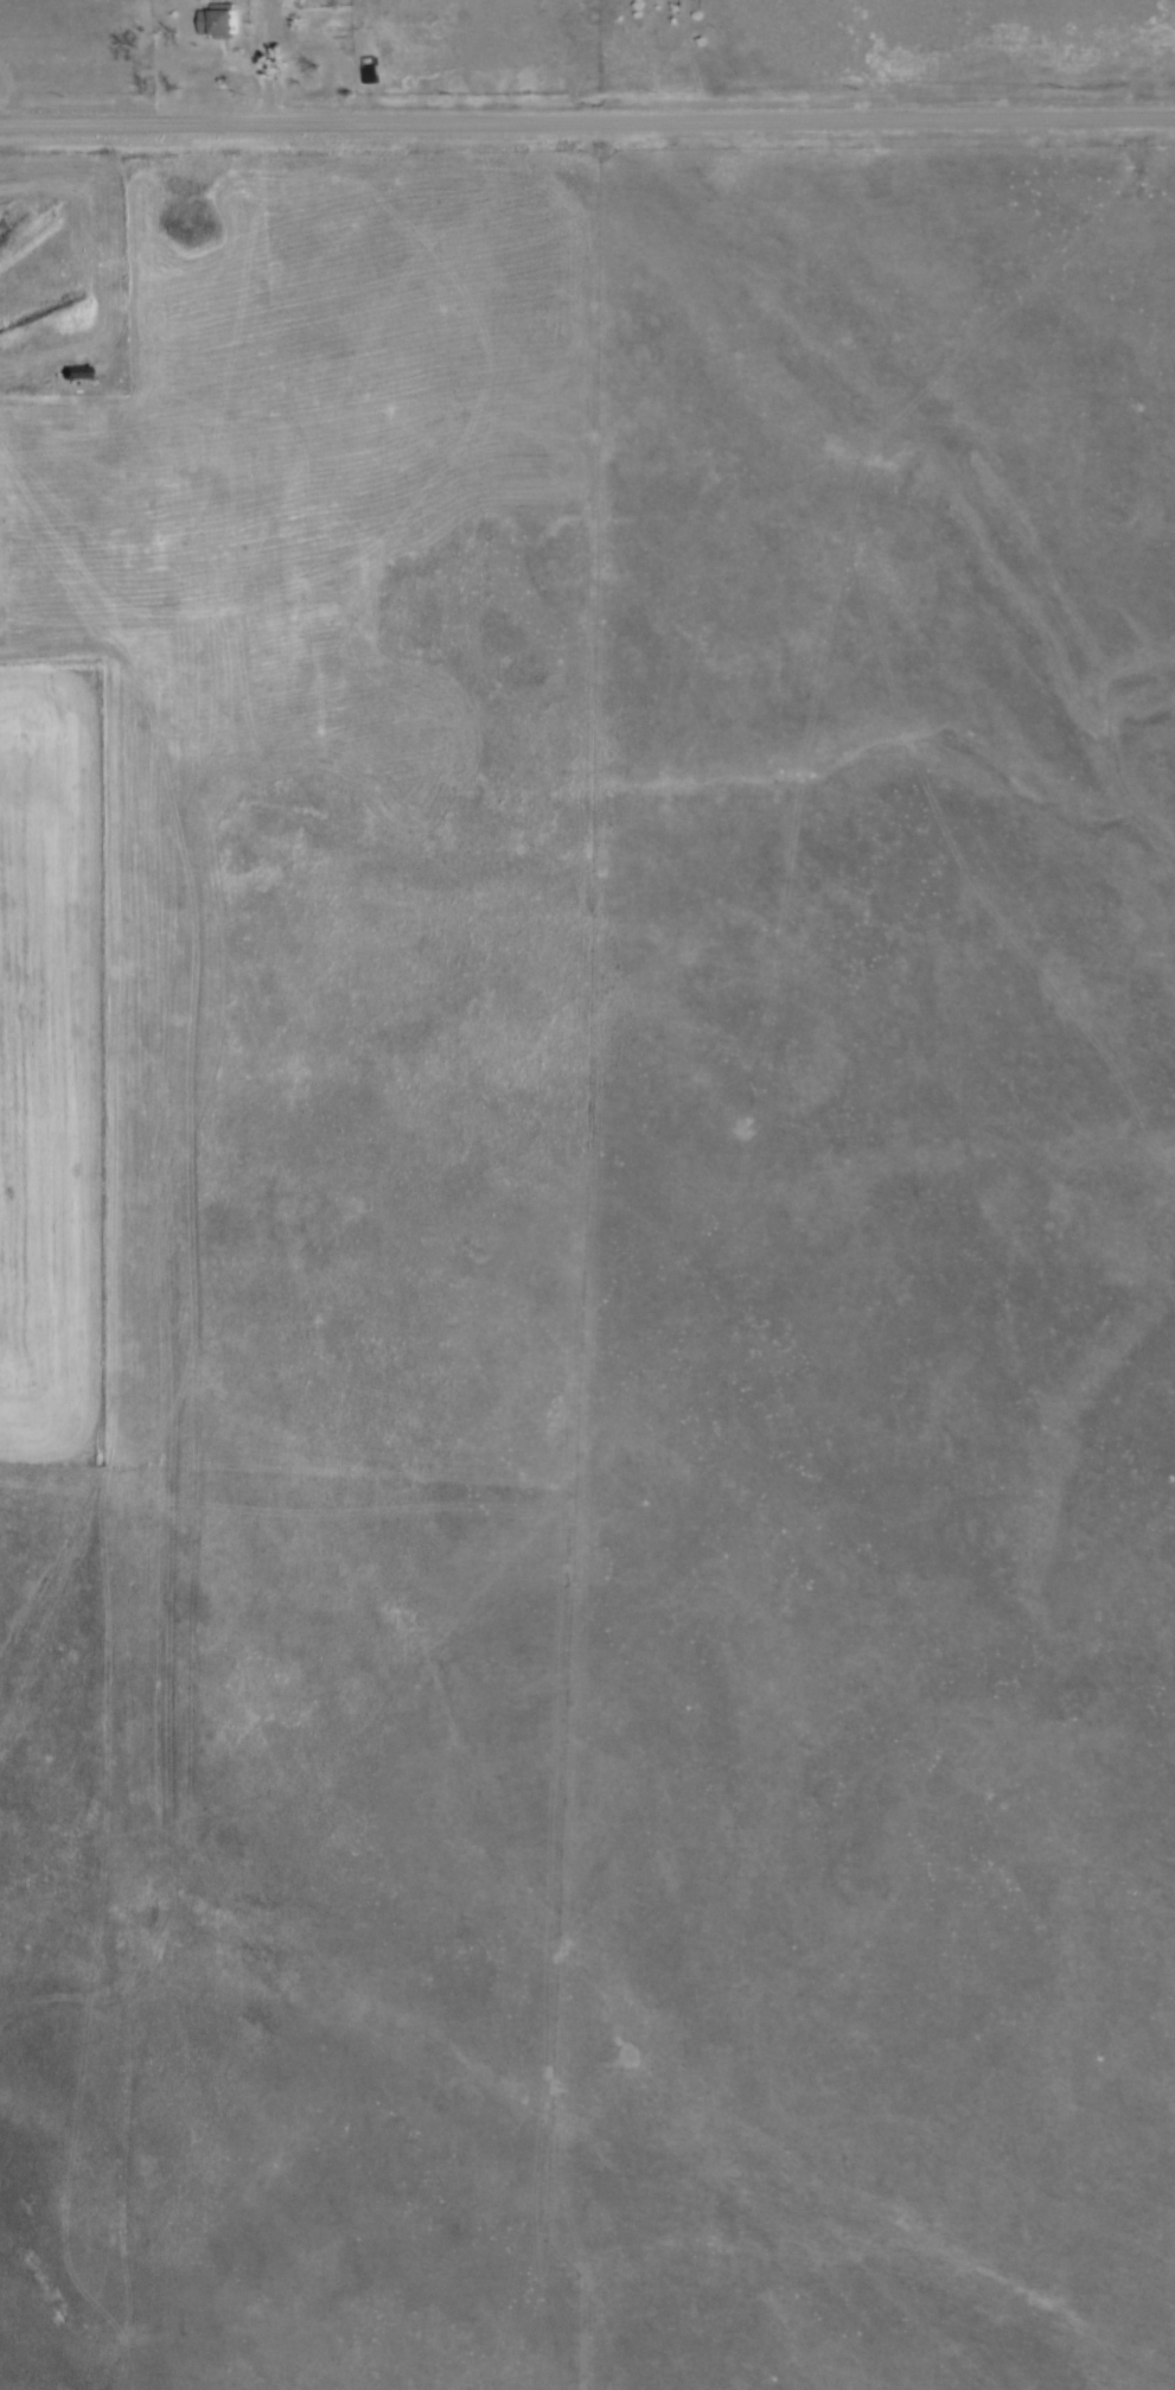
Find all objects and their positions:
building: (225, 20)
road: (230, 58)
building: (372, 69)
road: (587, 120)
building: (78, 371)
crop: (51, 1059)

